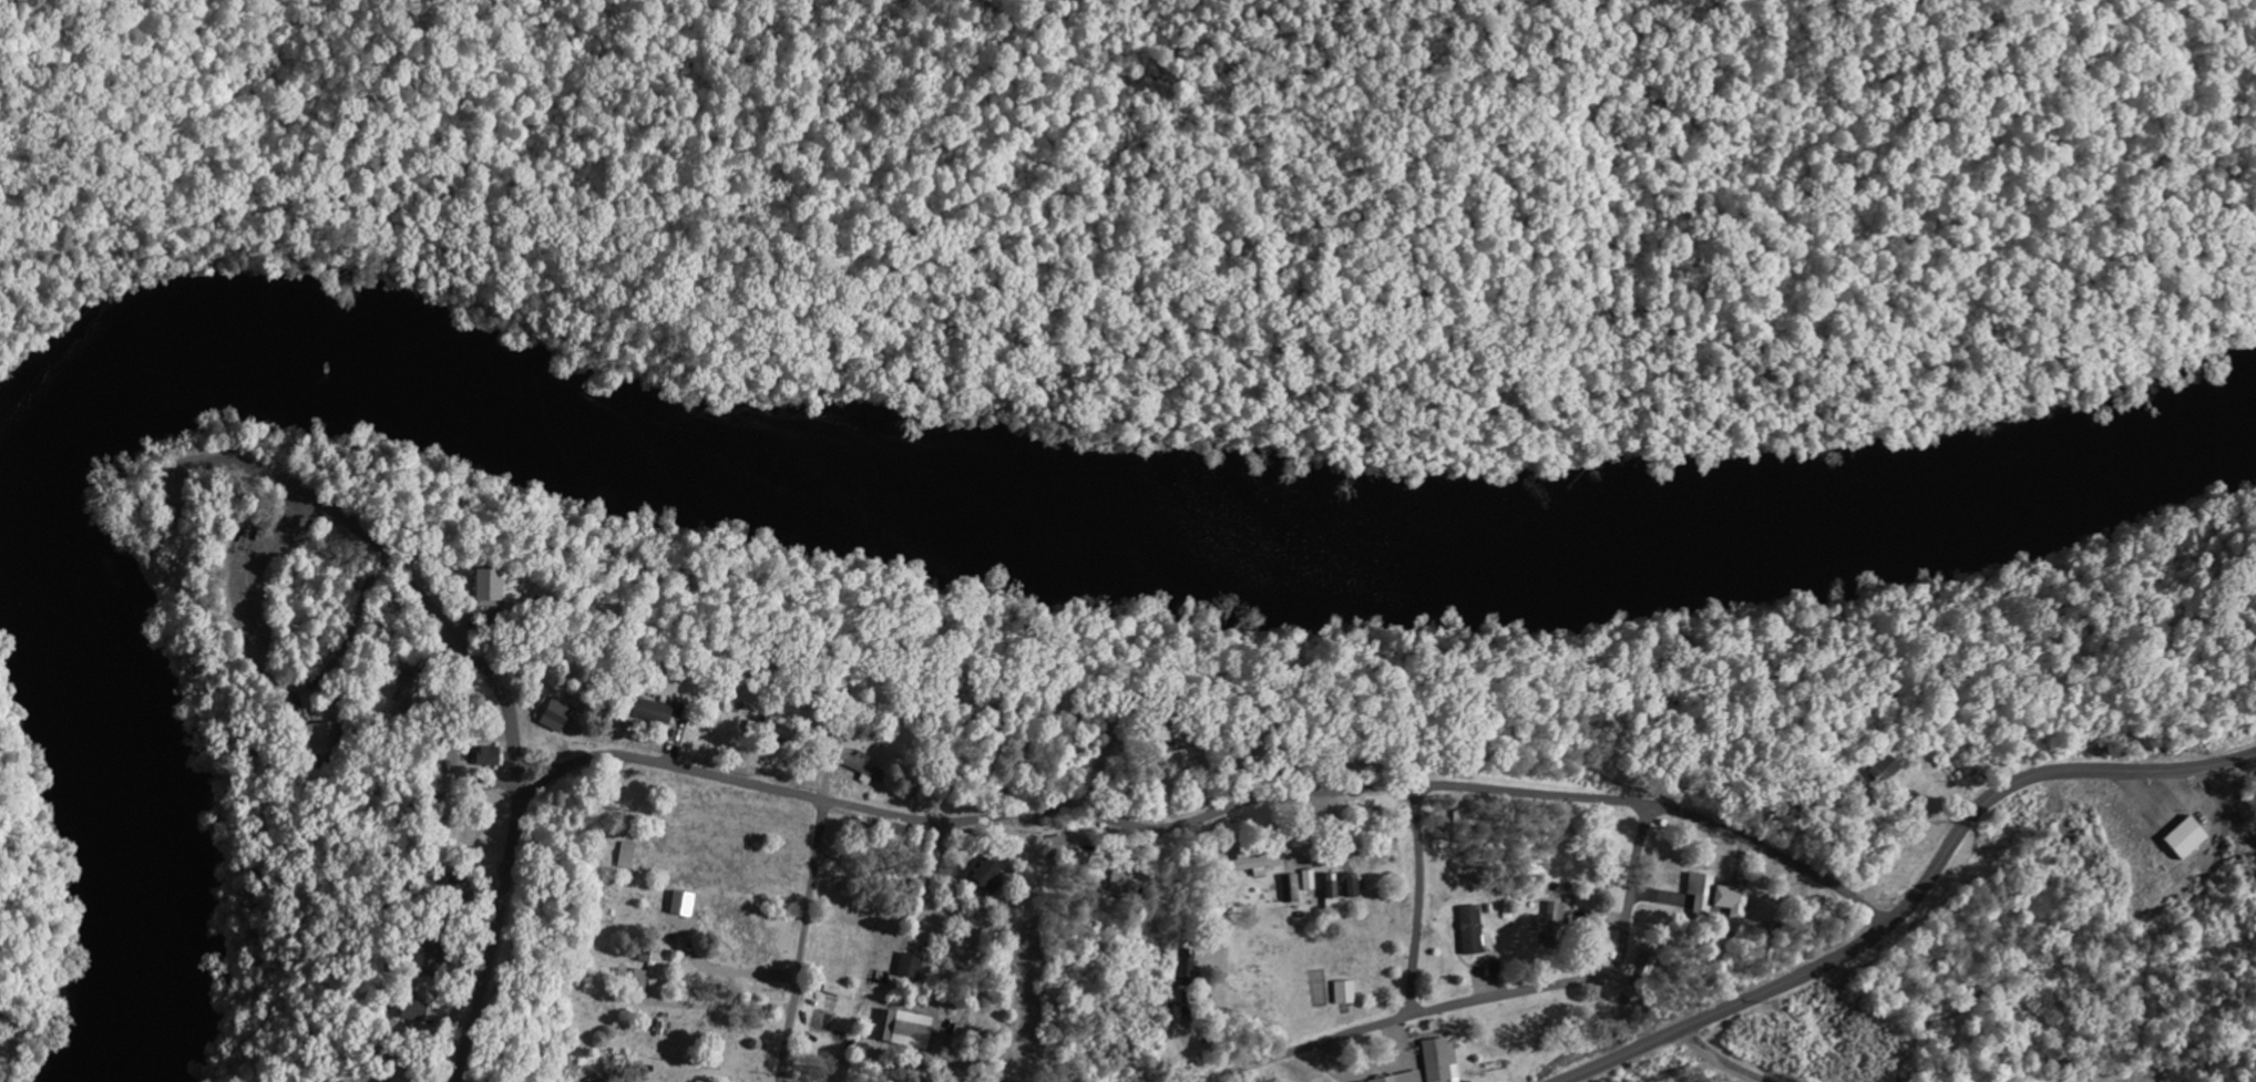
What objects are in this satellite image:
river: (782, 484)
road: (401, 575)
building: (489, 583)
building: (489, 601)
road: (267, 674)
building: (410, 692)
building: (653, 710)
building: (557, 713)
building: (322, 736)
building: (488, 754)
building: (1180, 754)
road: (2229, 761)
building: (1886, 767)
road: (2172, 801)
road: (2228, 806)
road: (1068, 810)
building: (2188, 836)
building: (626, 854)
building: (1255, 859)
building: (986, 872)
building: (1353, 883)
building: (1332, 885)
building: (1290, 887)
road: (386, 888)
building: (1715, 895)
road: (1417, 900)
building: (683, 901)
road: (1891, 917)
building: (1551, 921)
building: (1471, 928)
road: (802, 941)
building: (909, 967)
building: (1641, 968)
road: (735, 969)
building: (1345, 991)
road: (1481, 999)
road: (715, 1004)
building: (904, 1027)
building: (1440, 1059)
road: (1717, 1060)
road: (1374, 1068)
building: (1401, 1078)

